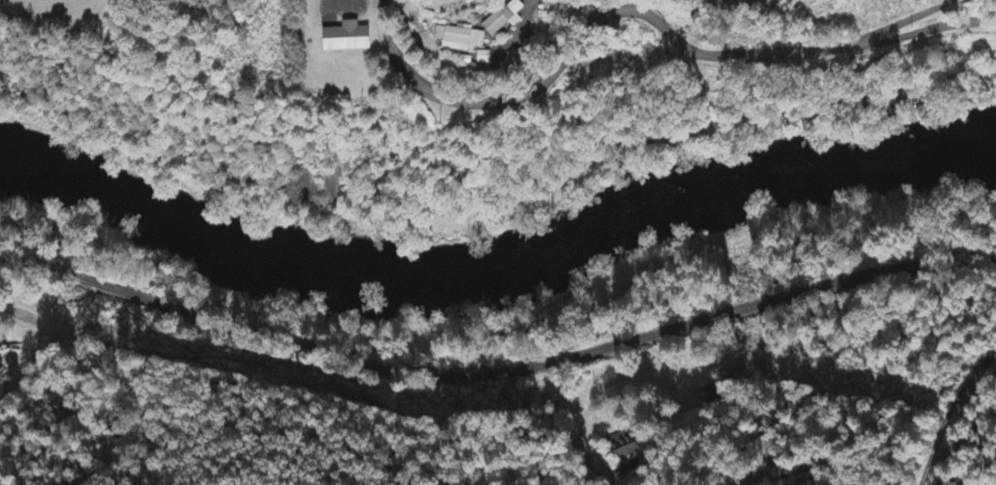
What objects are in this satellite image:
building: (503, 19)
building: (342, 38)
building: (459, 39)
road: (568, 50)
road: (818, 55)
river: (748, 173)
road: (434, 178)
river: (249, 230)
building: (2, 359)
railway: (498, 369)
building: (622, 447)

